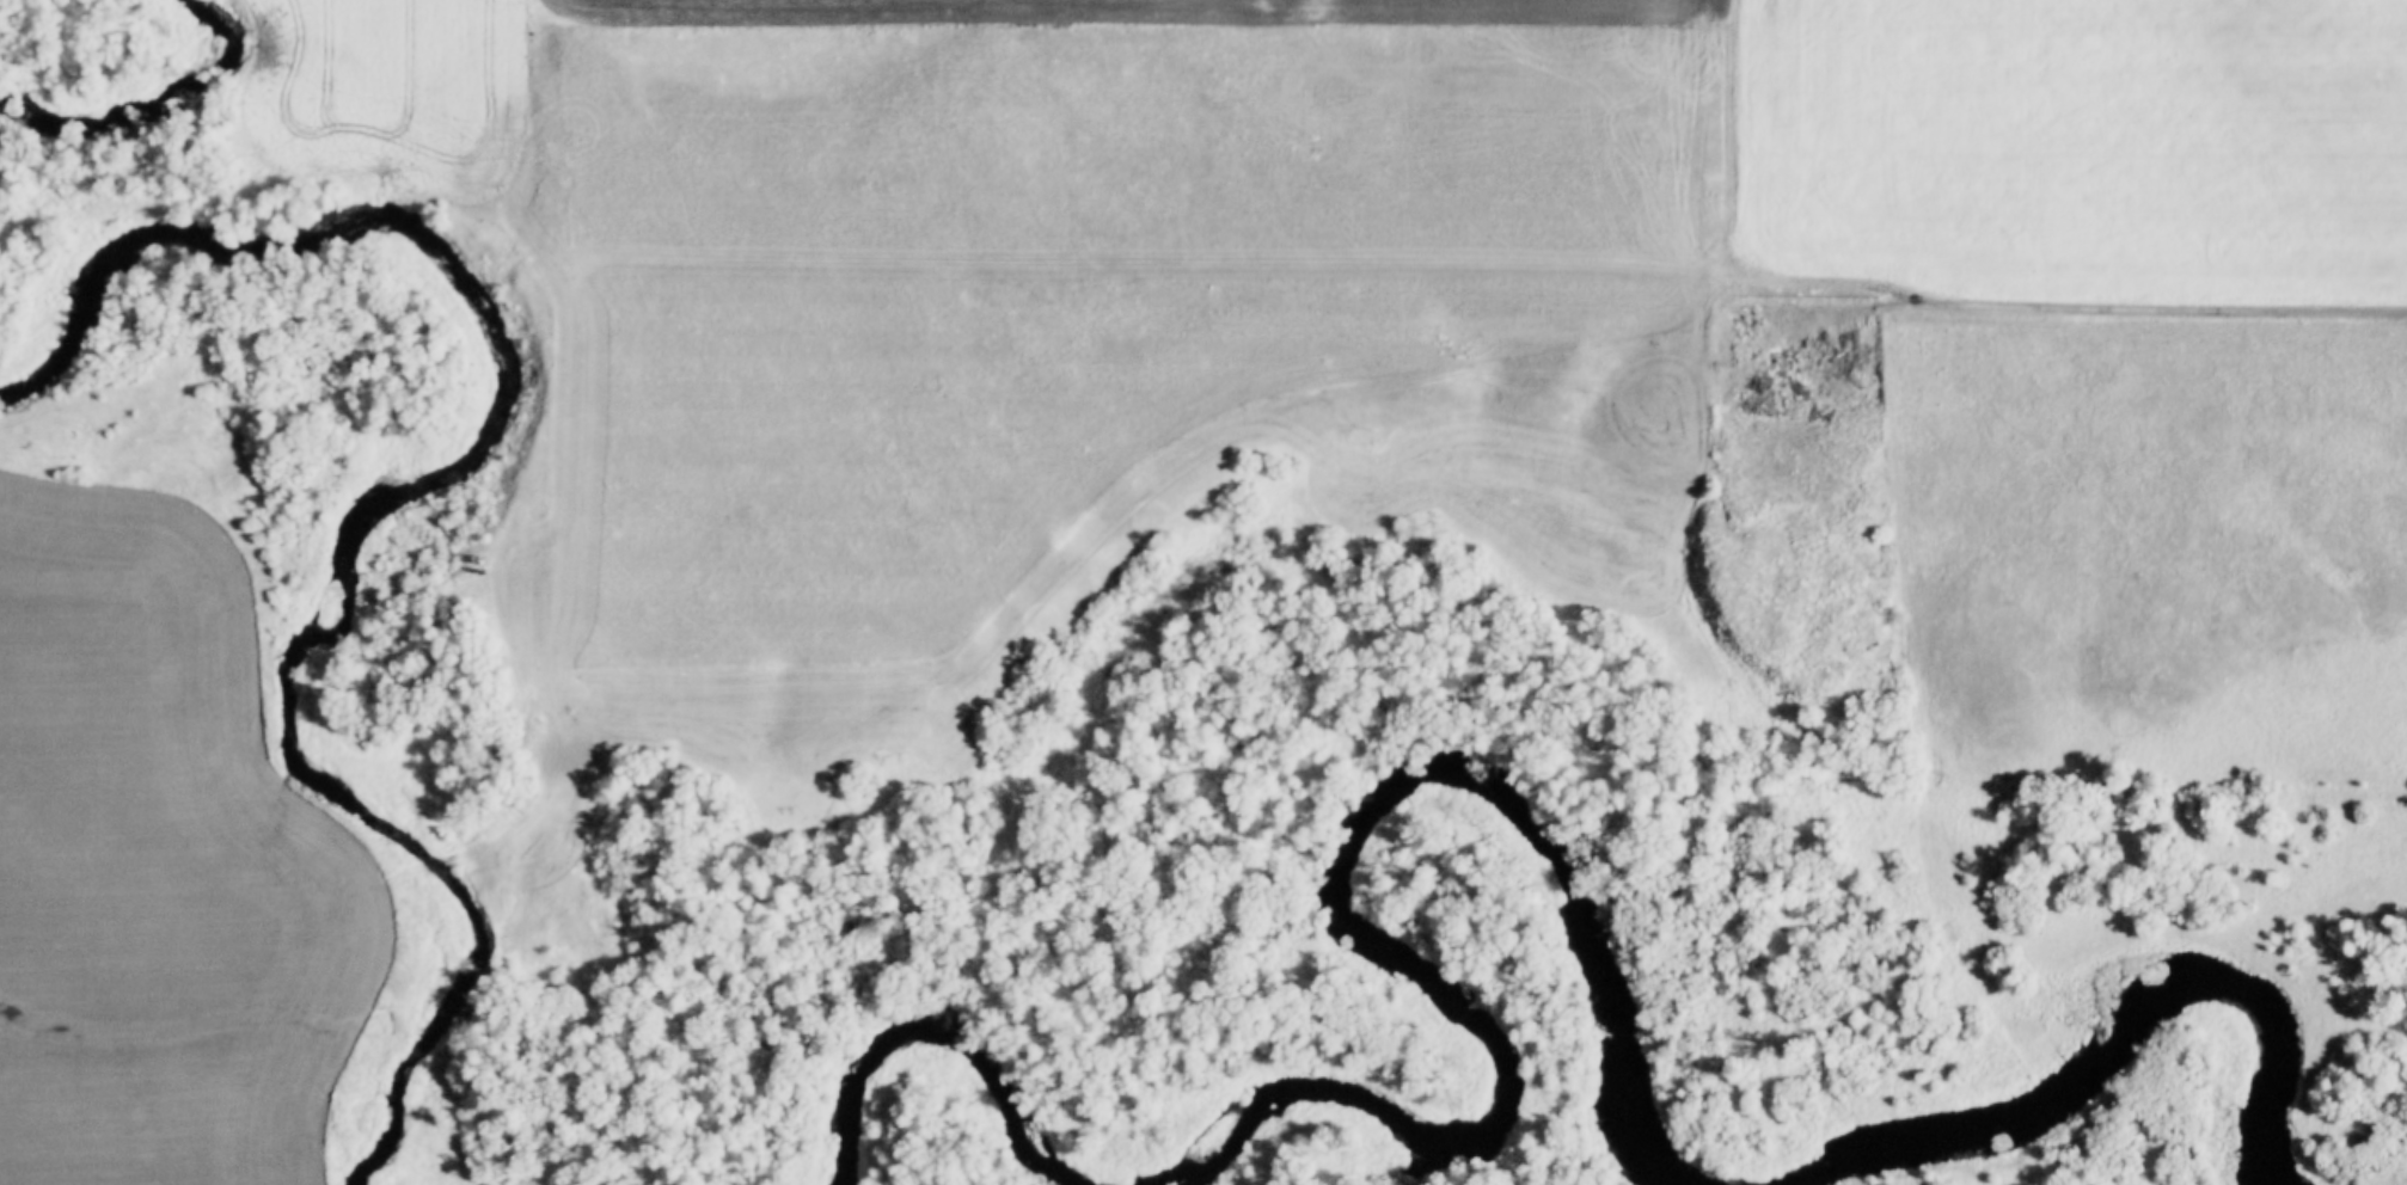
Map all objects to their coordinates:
road: (2072, 299)
landfill: (1793, 485)

